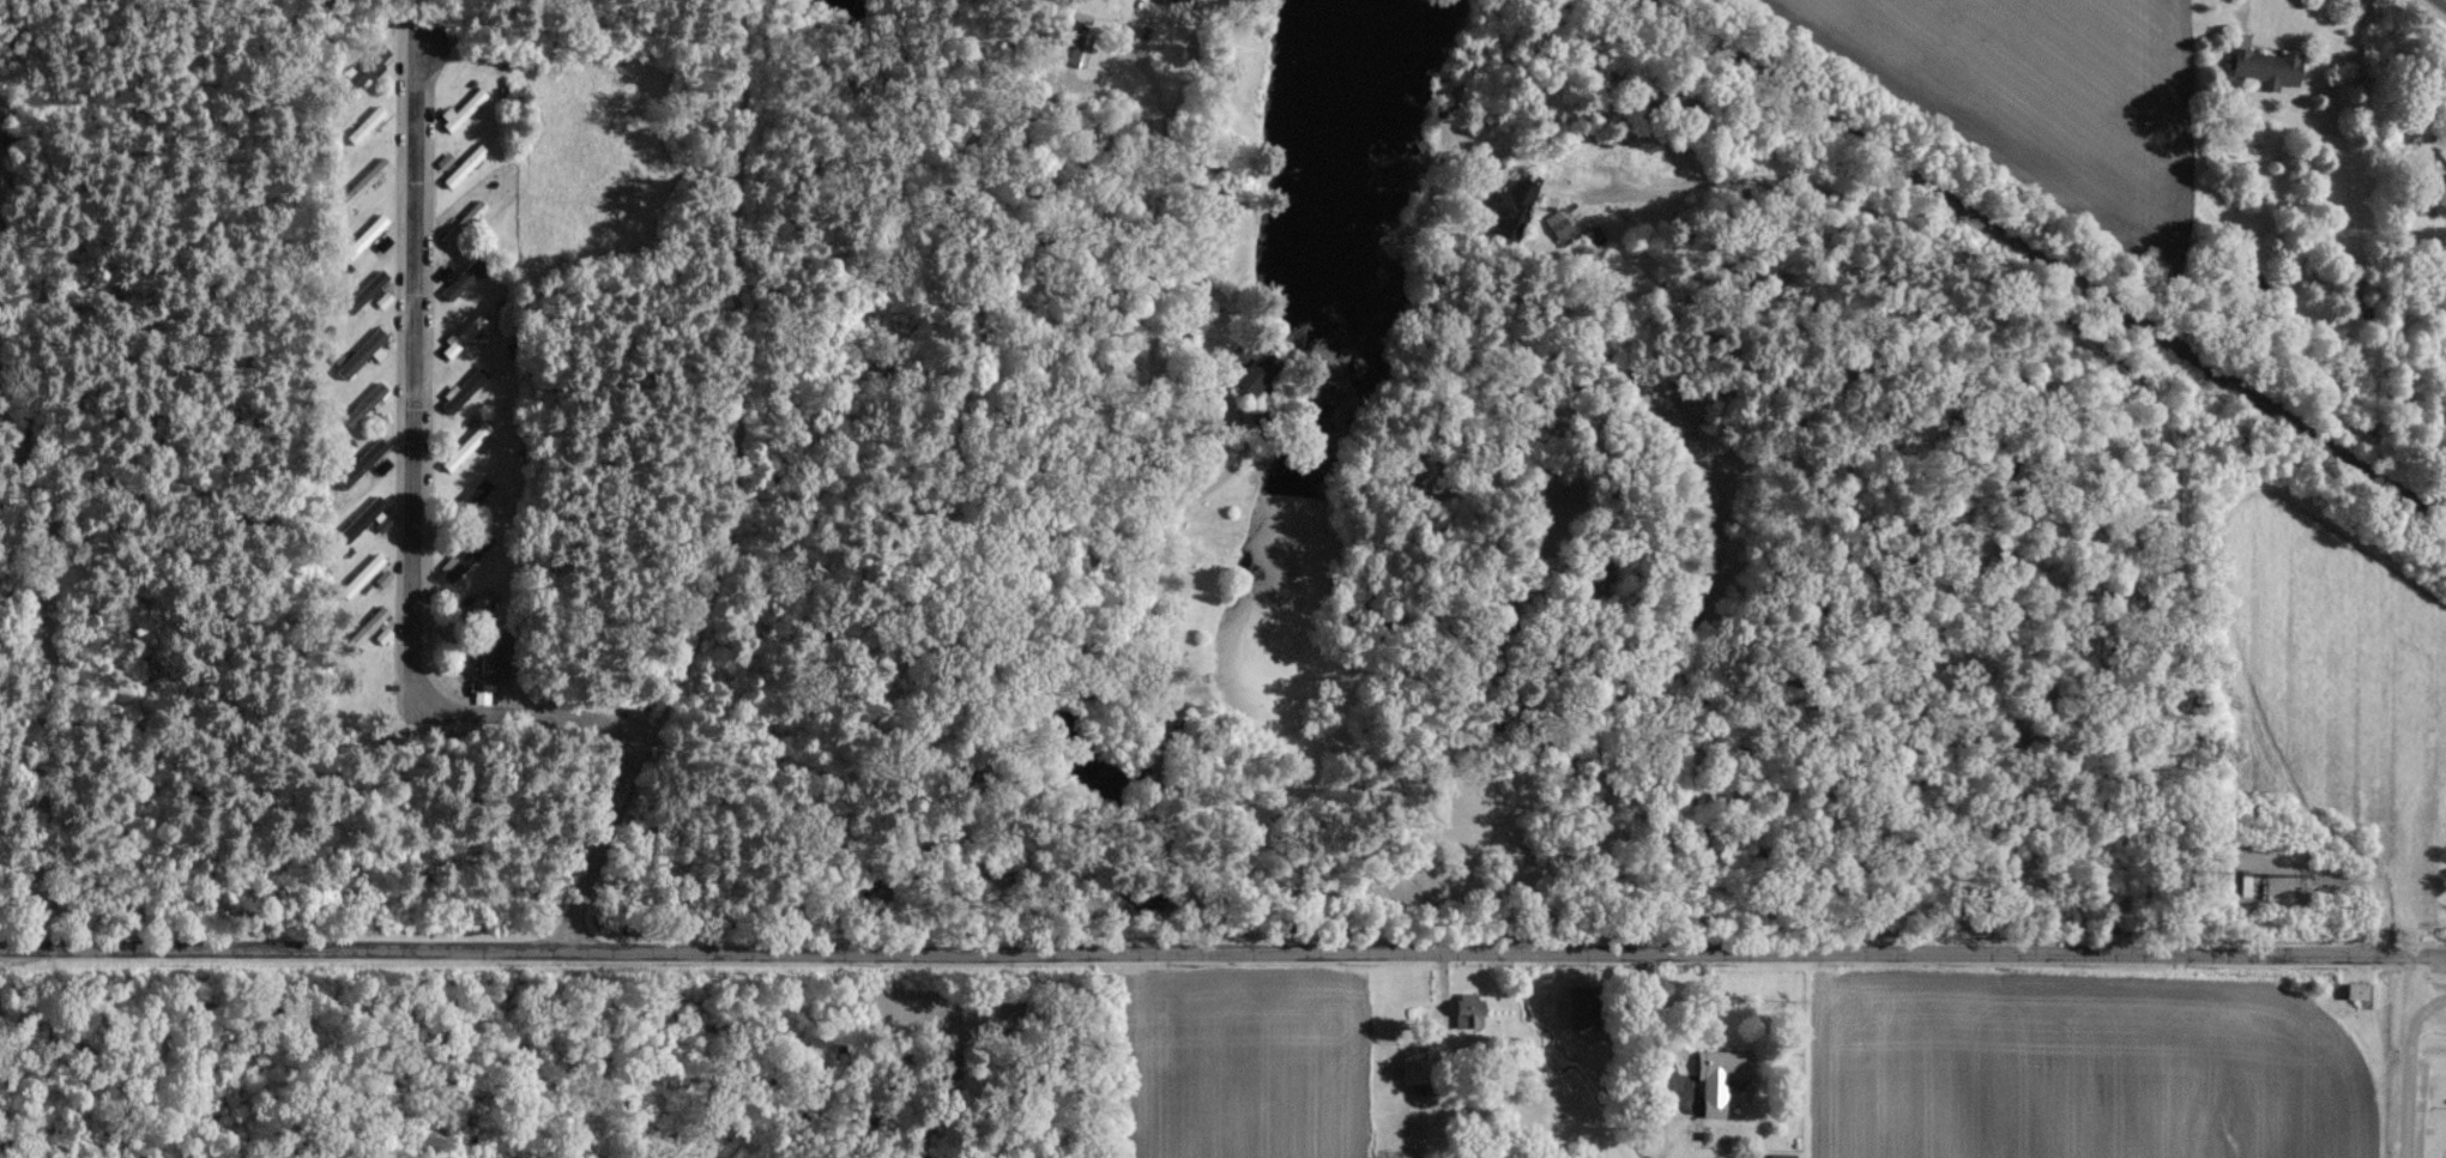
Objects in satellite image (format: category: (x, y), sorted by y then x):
road: (2445, 0)
building: (1185, 1)
building: (2260, 66)
building: (361, 72)
building: (2441, 77)
building: (464, 109)
building: (368, 123)
building: (467, 164)
building: (369, 177)
building: (1512, 207)
building: (466, 221)
building: (1556, 223)
building: (372, 229)
railway: (2039, 263)
building: (463, 278)
building: (376, 289)
building: (464, 334)
building: (364, 352)
building: (1254, 376)
building: (461, 390)
building: (466, 445)
building: (373, 452)
road: (677, 481)
road: (421, 495)
building: (366, 515)
building: (454, 566)
building: (366, 573)
road: (1155, 621)
building: (370, 623)
building: (385, 634)
building: (483, 695)
road: (1222, 953)
building: (1472, 1008)
building: (1426, 1066)
building: (1713, 1079)

